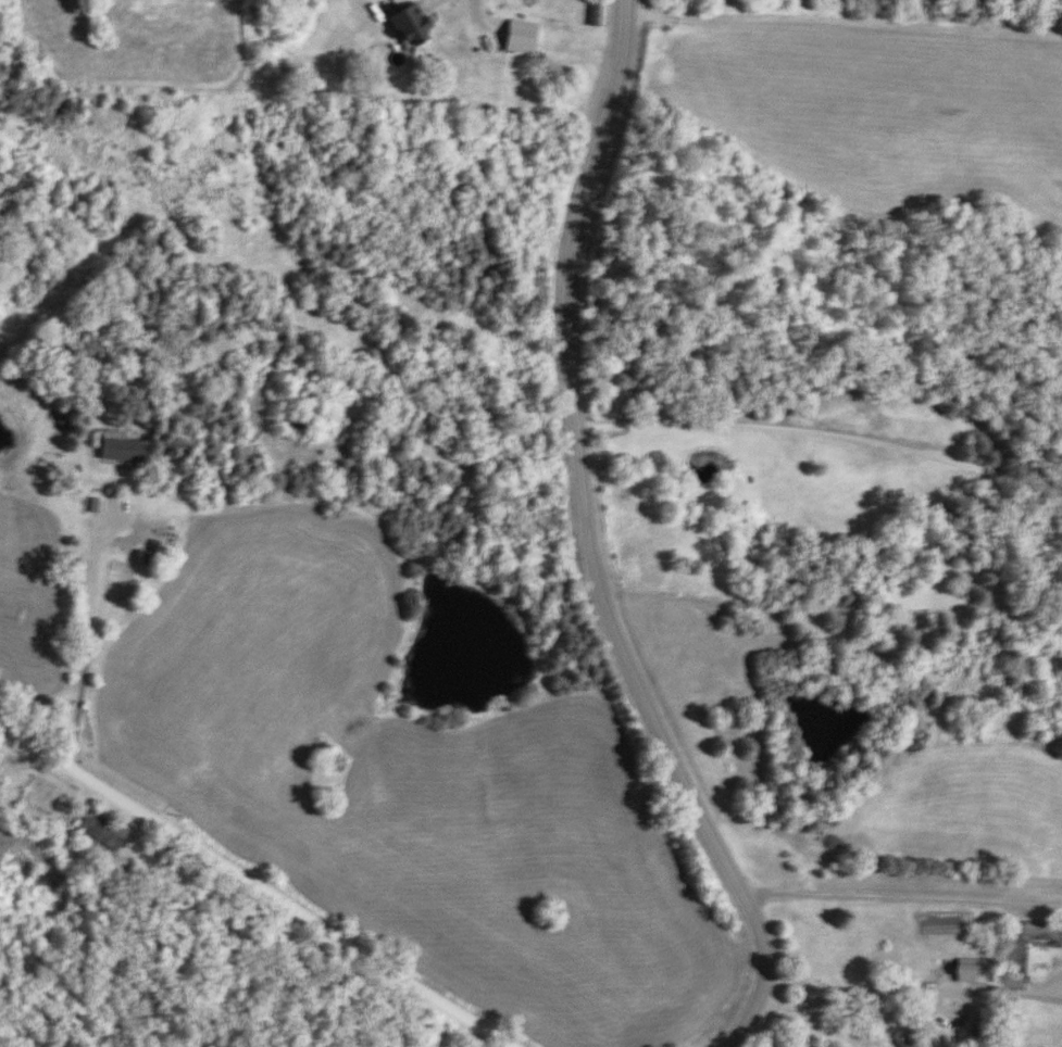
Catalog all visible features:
building: (410, 26)
building: (520, 37)
road: (821, 431)
building: (121, 451)
road: (589, 545)
building: (146, 557)
road: (82, 647)
building: (101, 830)
road: (900, 894)
road: (247, 895)
road: (908, 988)
building: (907, 1040)

